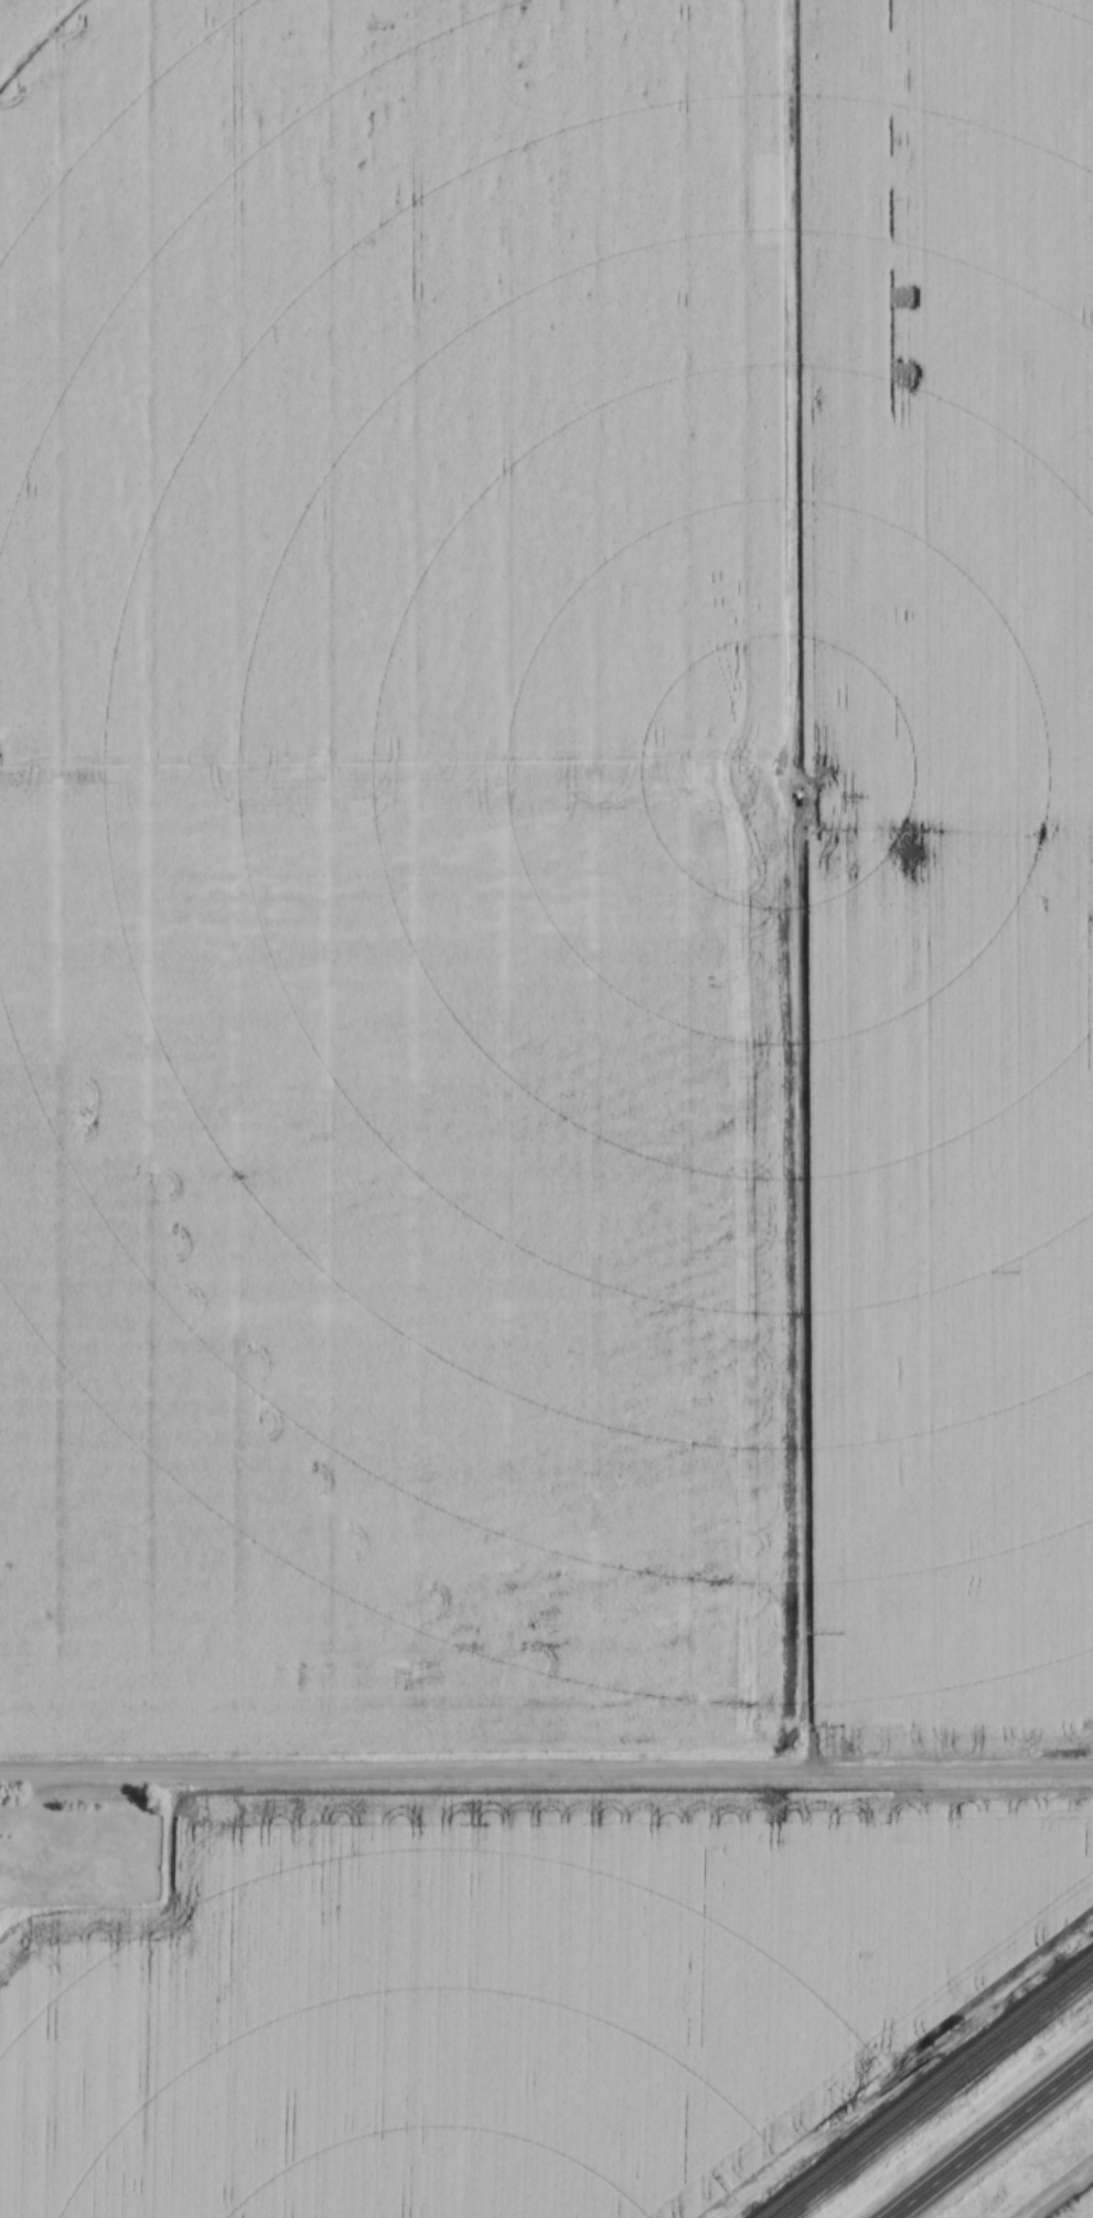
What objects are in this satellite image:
road: (546, 1770)
railway: (924, 2084)
railway: (933, 2091)
road: (994, 2139)

